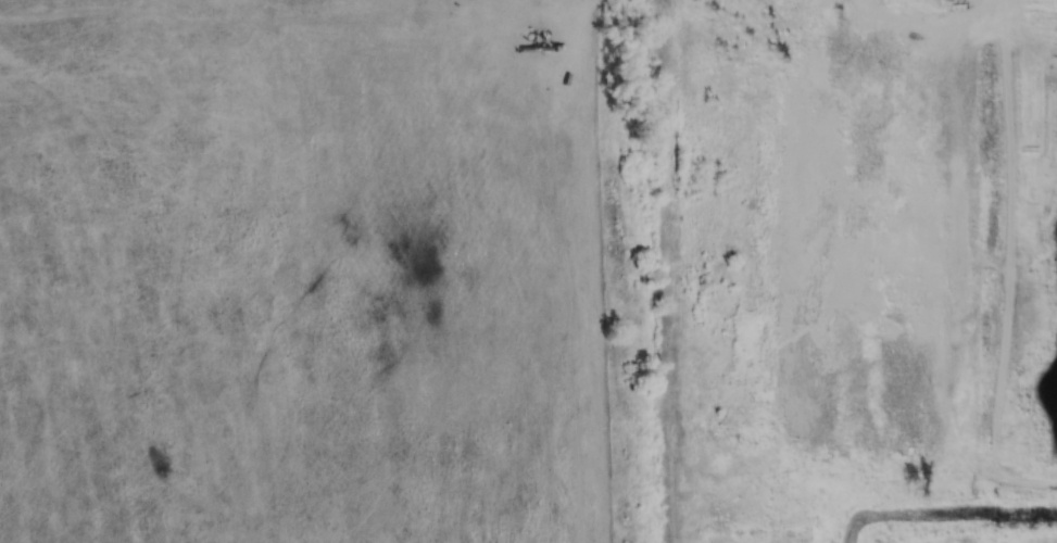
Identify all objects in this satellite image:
road: (947, 21)

